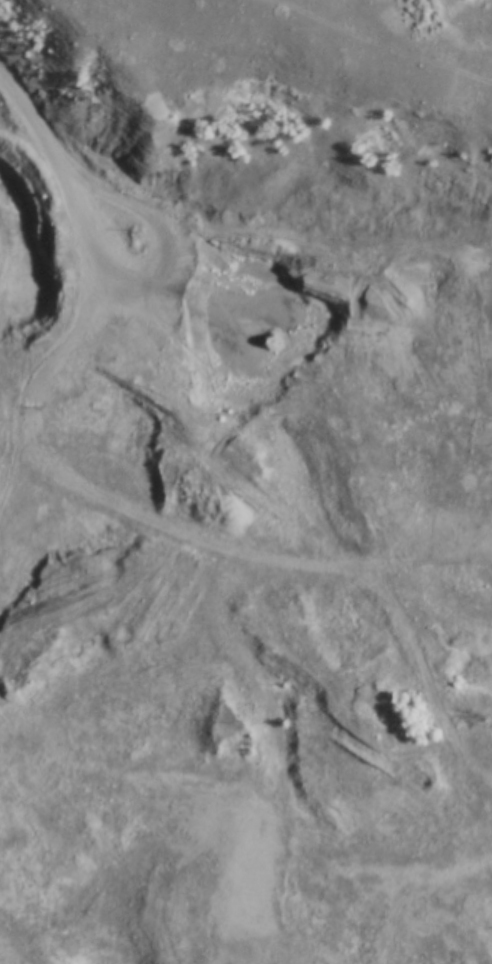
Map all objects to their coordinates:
road: (217, 374)
quarry: (243, 578)

